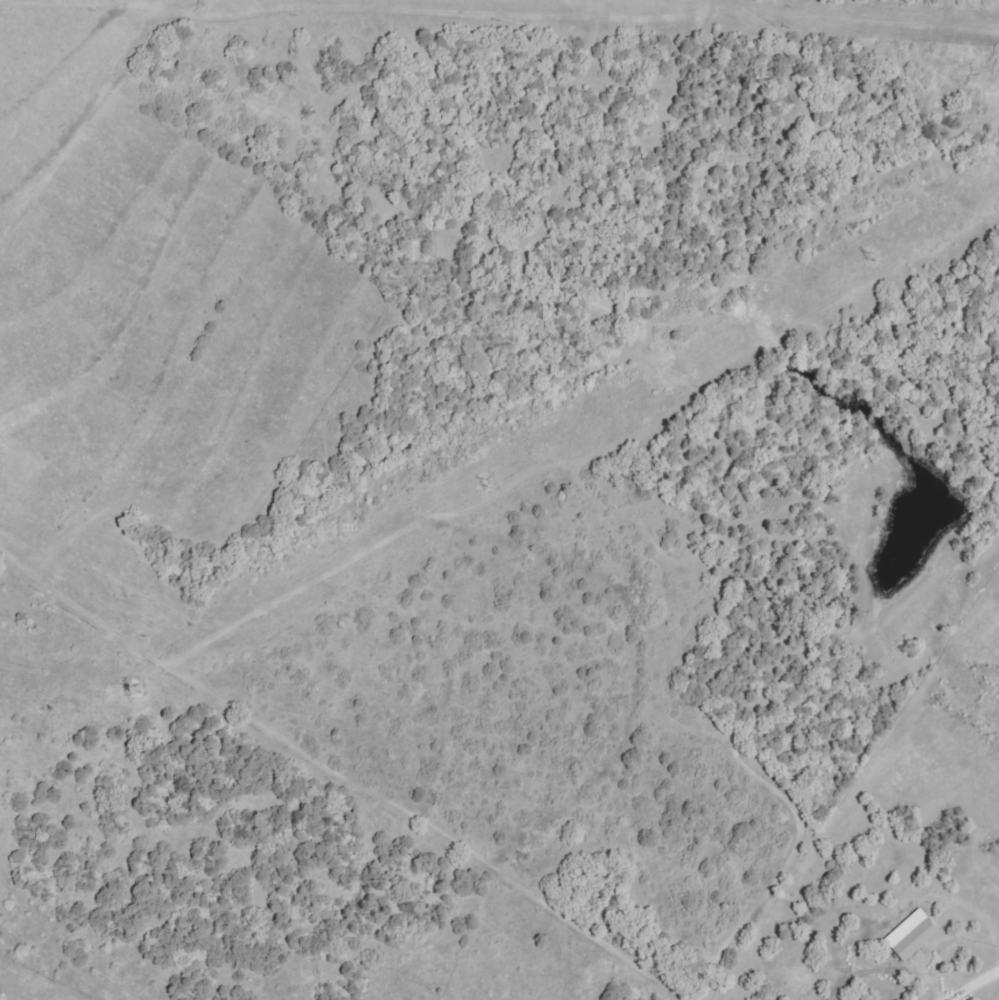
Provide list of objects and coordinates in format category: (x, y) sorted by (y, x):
power tower: (864, 258)
power tower: (479, 482)
power tower: (127, 688)
building: (922, 939)
road: (966, 981)

